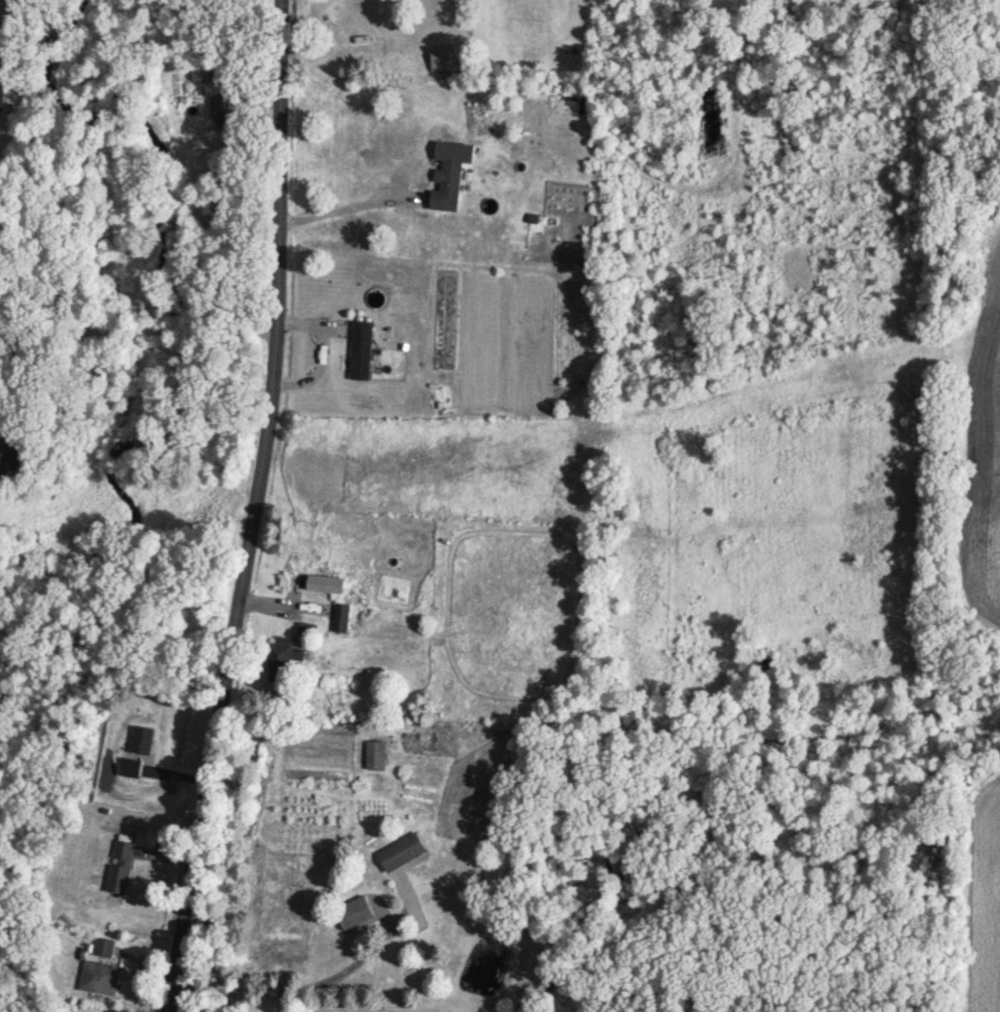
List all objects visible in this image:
building: (221, 115)
building: (450, 188)
road: (346, 210)
road: (142, 324)
building: (364, 351)
road: (261, 508)
building: (330, 584)
building: (343, 618)
building: (289, 653)
building: (144, 741)
building: (378, 752)
building: (131, 774)
building: (403, 852)
building: (121, 867)
building: (353, 914)
building: (101, 979)
road: (295, 988)

